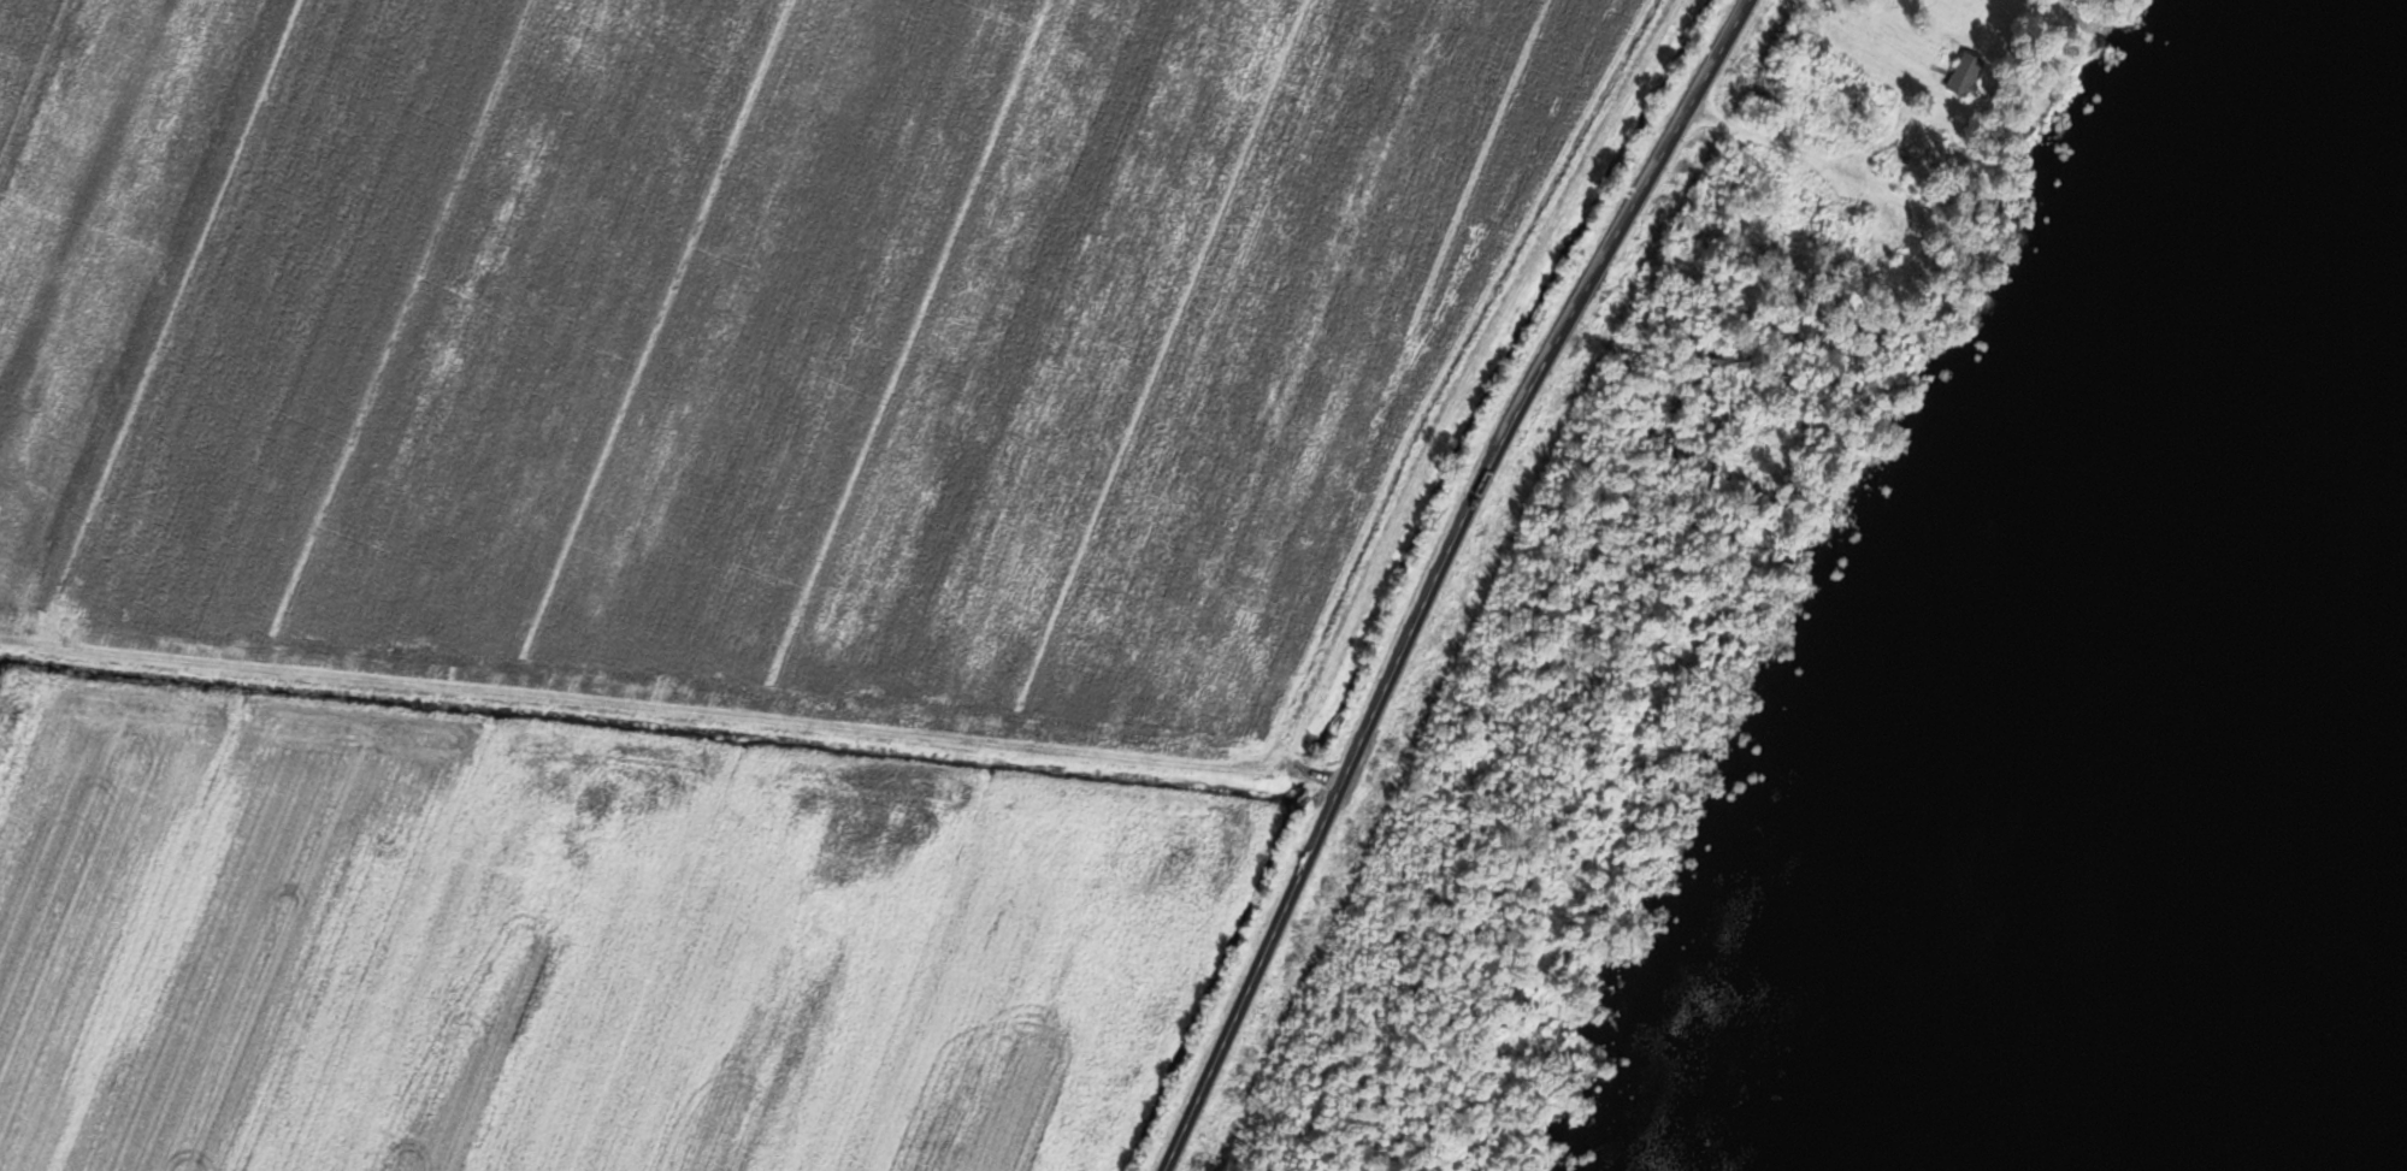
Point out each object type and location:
road: (1865, 36)
building: (1961, 73)
road: (1781, 143)
building: (1887, 229)
crop: (722, 545)
road: (1440, 576)
road: (672, 705)

